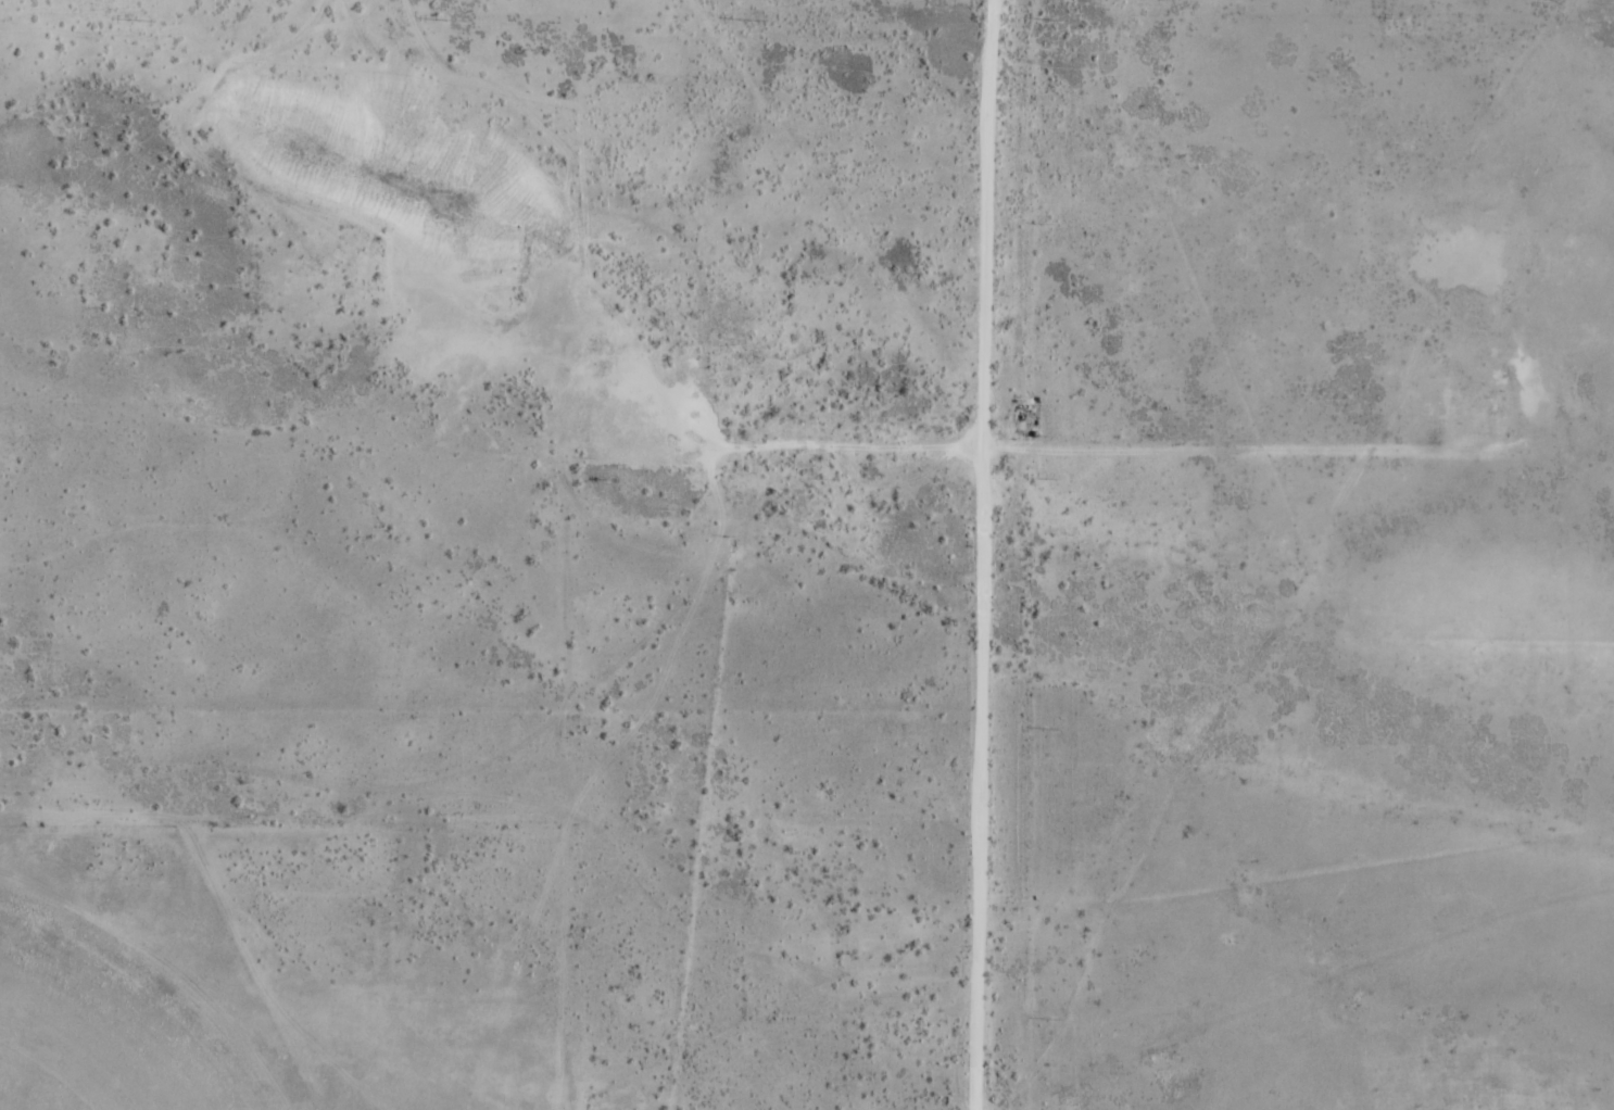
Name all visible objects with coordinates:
road: (993, 555)

